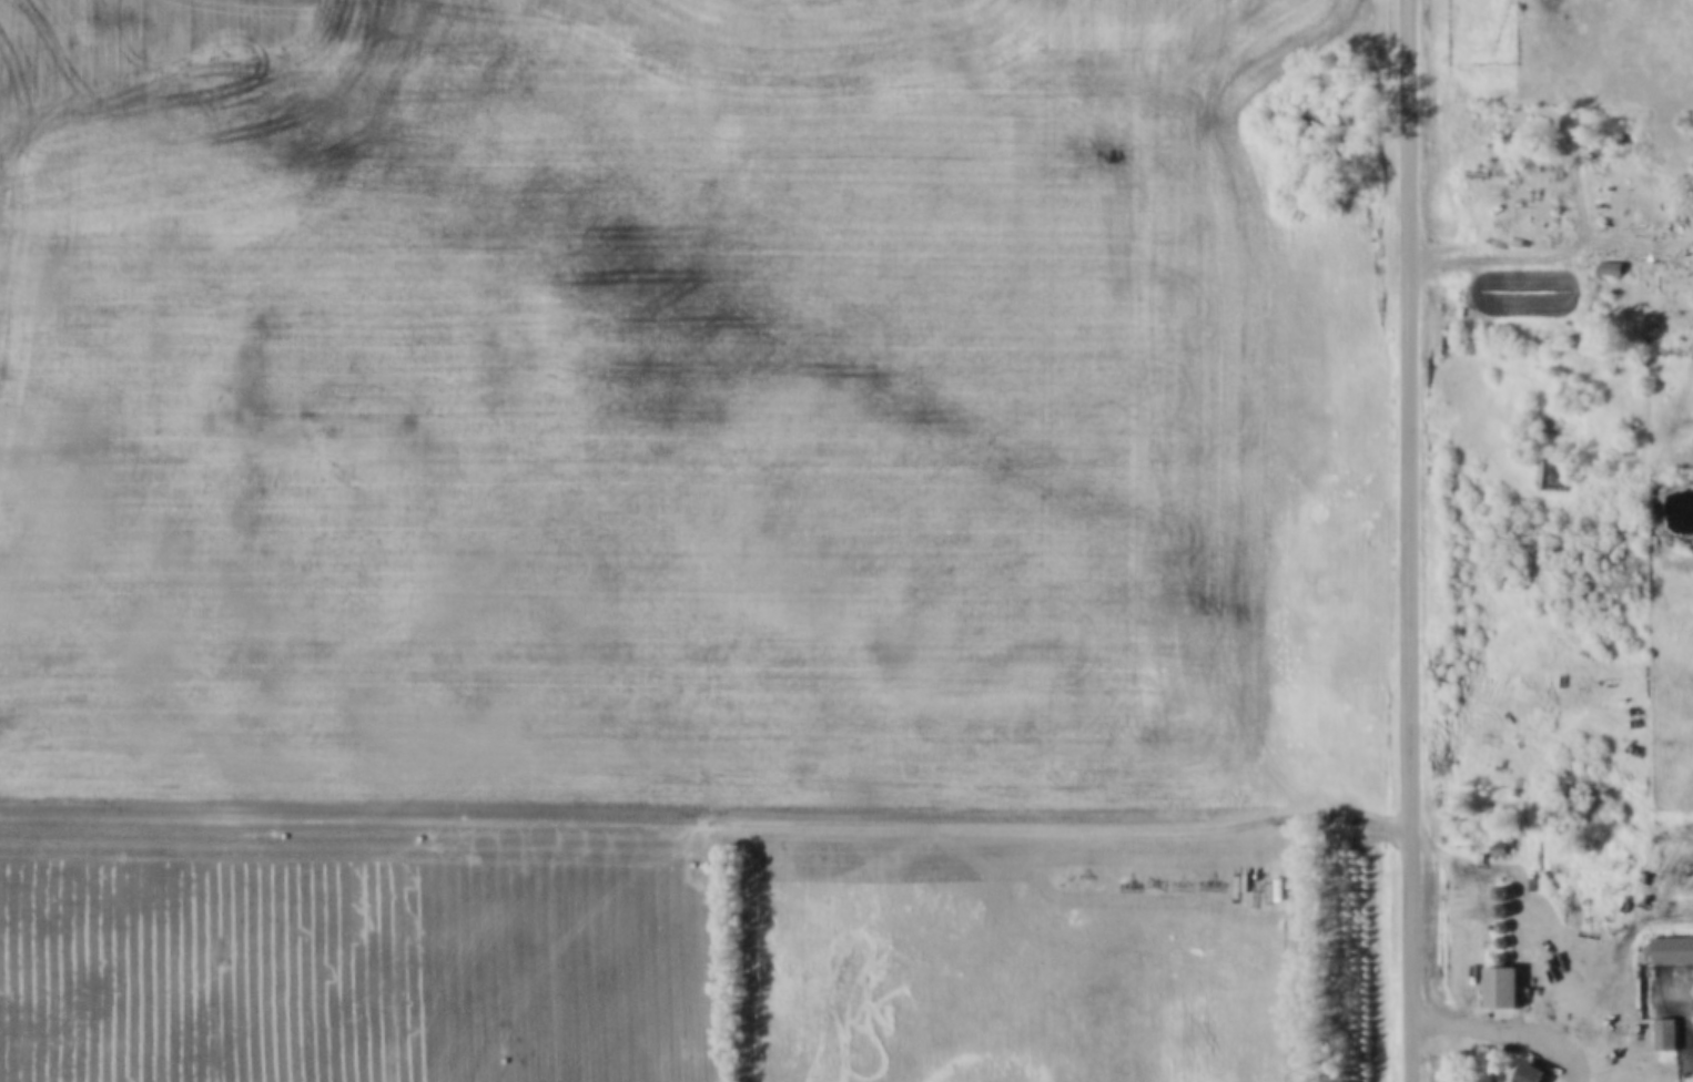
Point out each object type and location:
road: (1551, 251)
building: (1613, 269)
building: (1557, 477)
road: (1413, 541)
building: (1672, 951)
building: (1500, 989)
road: (1512, 1028)
building: (1667, 1035)
building: (1527, 1073)

